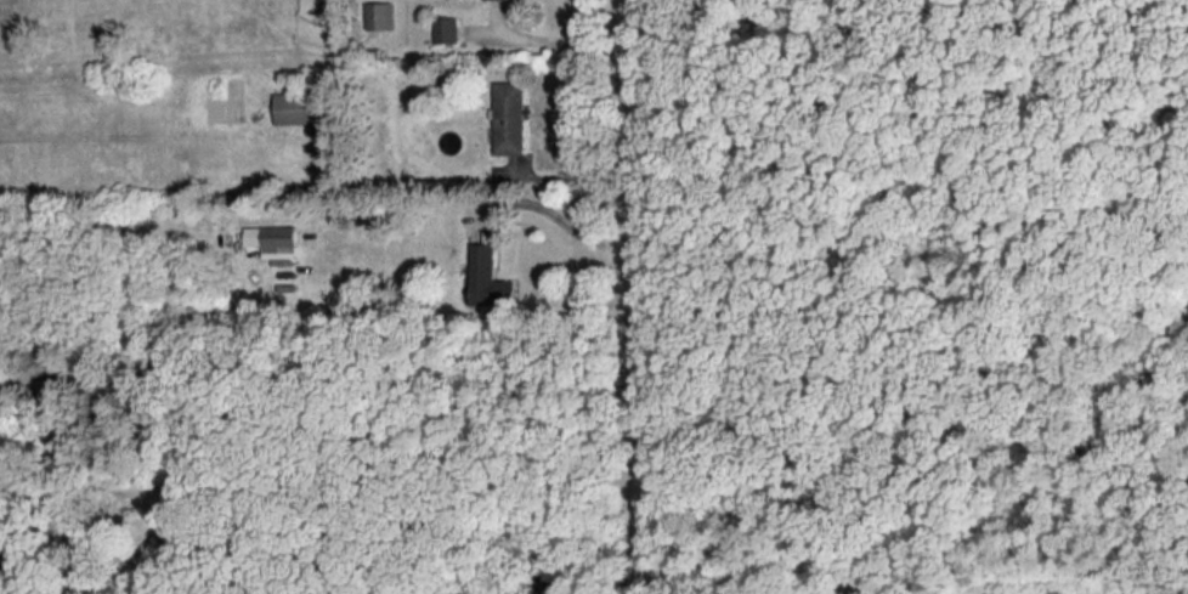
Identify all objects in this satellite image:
road: (722, 9)
building: (380, 15)
building: (447, 28)
road: (562, 41)
building: (292, 107)
building: (509, 115)
road: (562, 174)
road: (566, 220)
building: (272, 239)
building: (487, 278)
park: (918, 288)
road: (634, 296)
road: (319, 415)
road: (324, 503)

